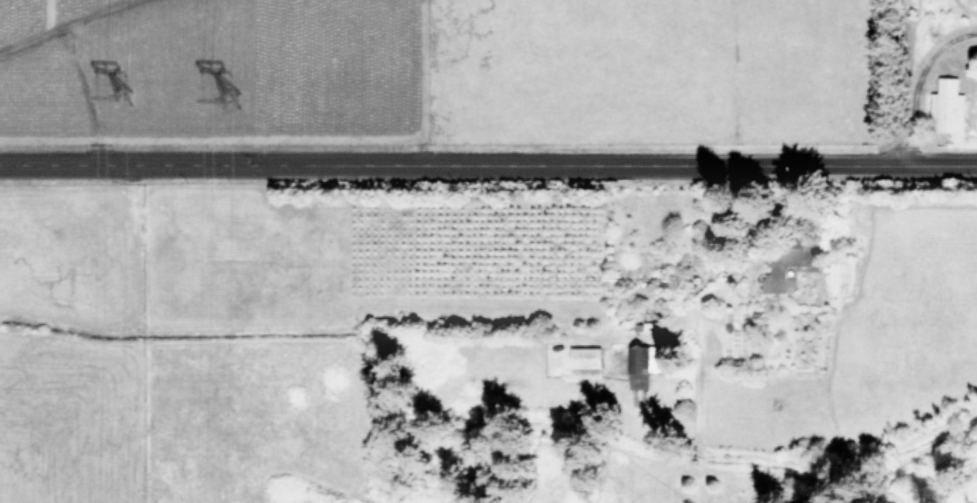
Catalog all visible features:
road: (917, 76)
road: (899, 78)
building: (948, 105)
power tower: (132, 108)
power tower: (242, 112)
road: (488, 157)
building: (777, 270)
building: (586, 361)
building: (637, 367)

